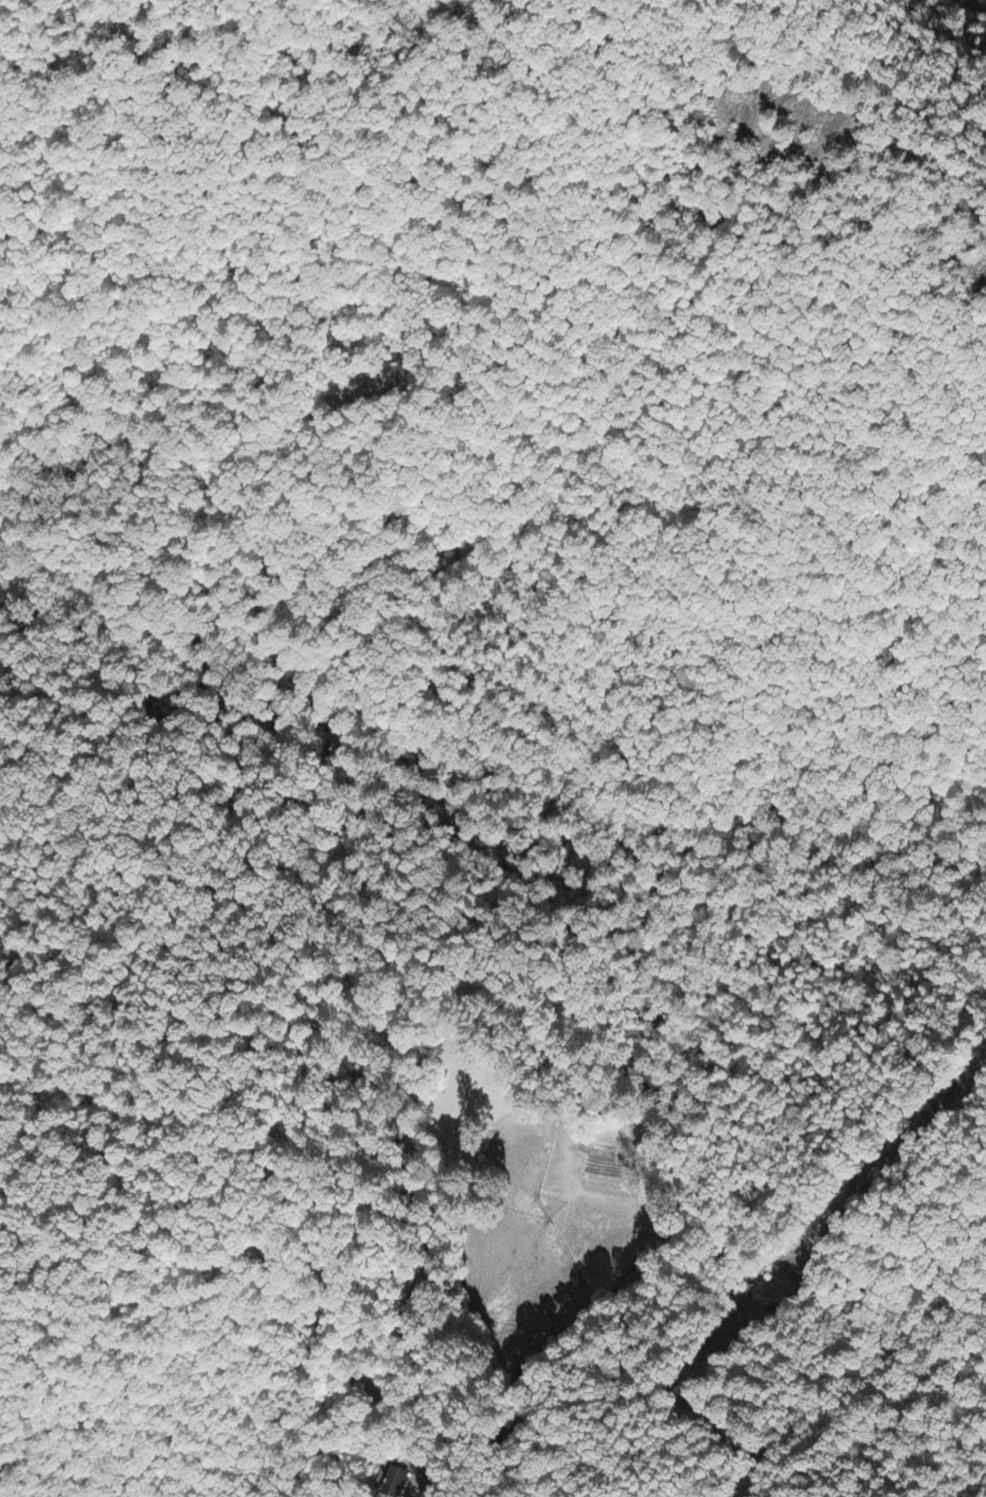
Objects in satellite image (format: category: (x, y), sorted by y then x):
road: (865, 857)
road: (756, 911)
road: (321, 1314)
road: (730, 1435)
building: (394, 1484)

